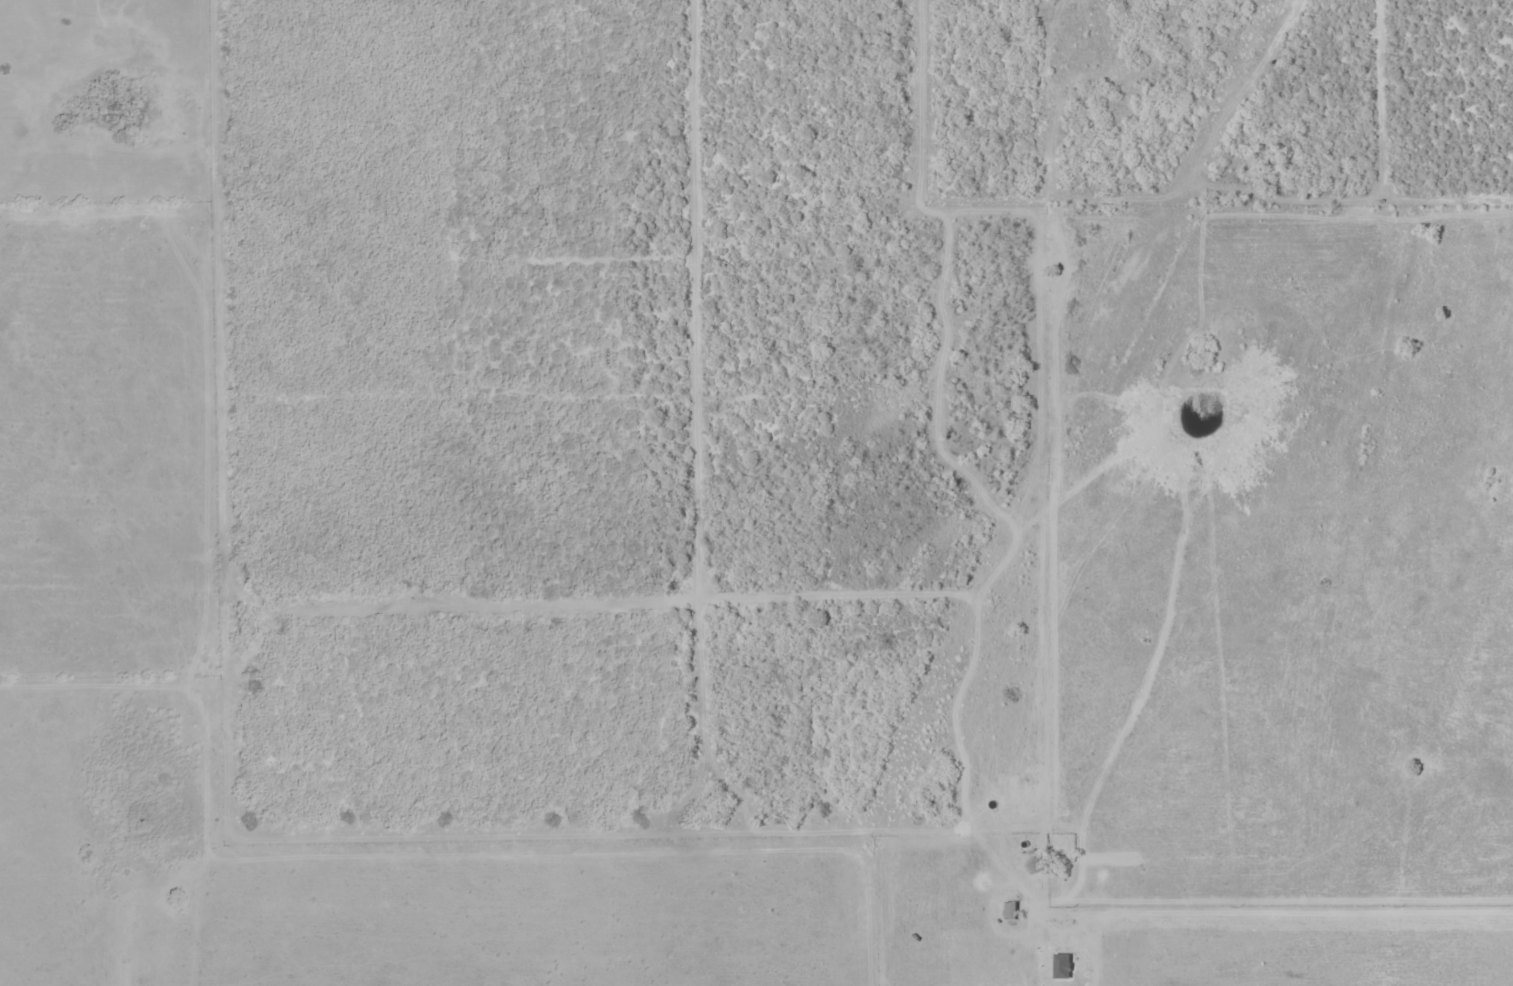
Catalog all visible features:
building: (1008, 910)

